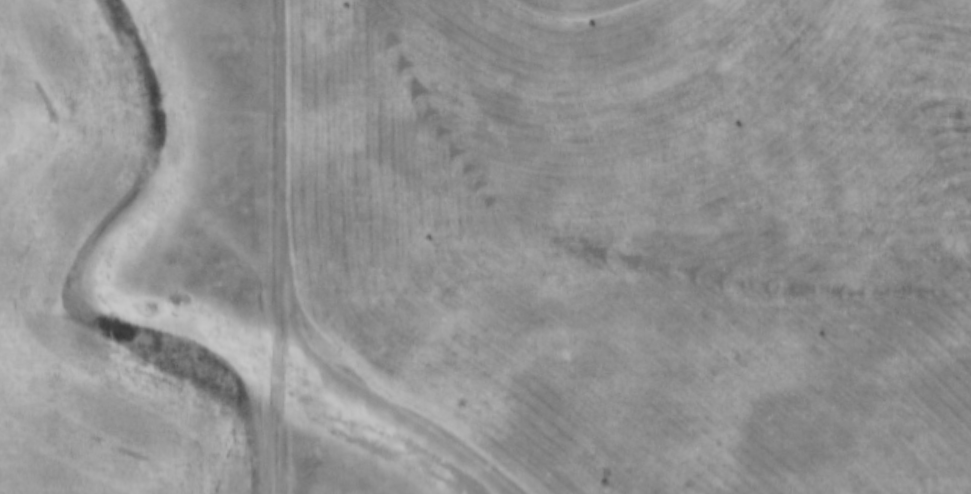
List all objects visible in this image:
road: (269, 246)

